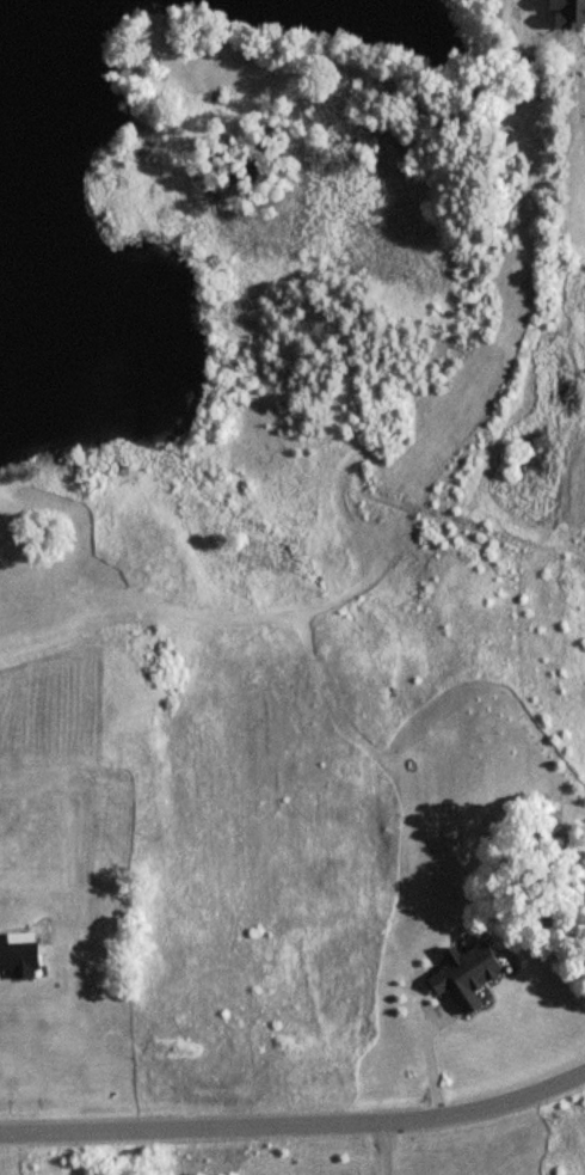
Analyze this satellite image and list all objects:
building: (475, 974)
road: (296, 1124)

